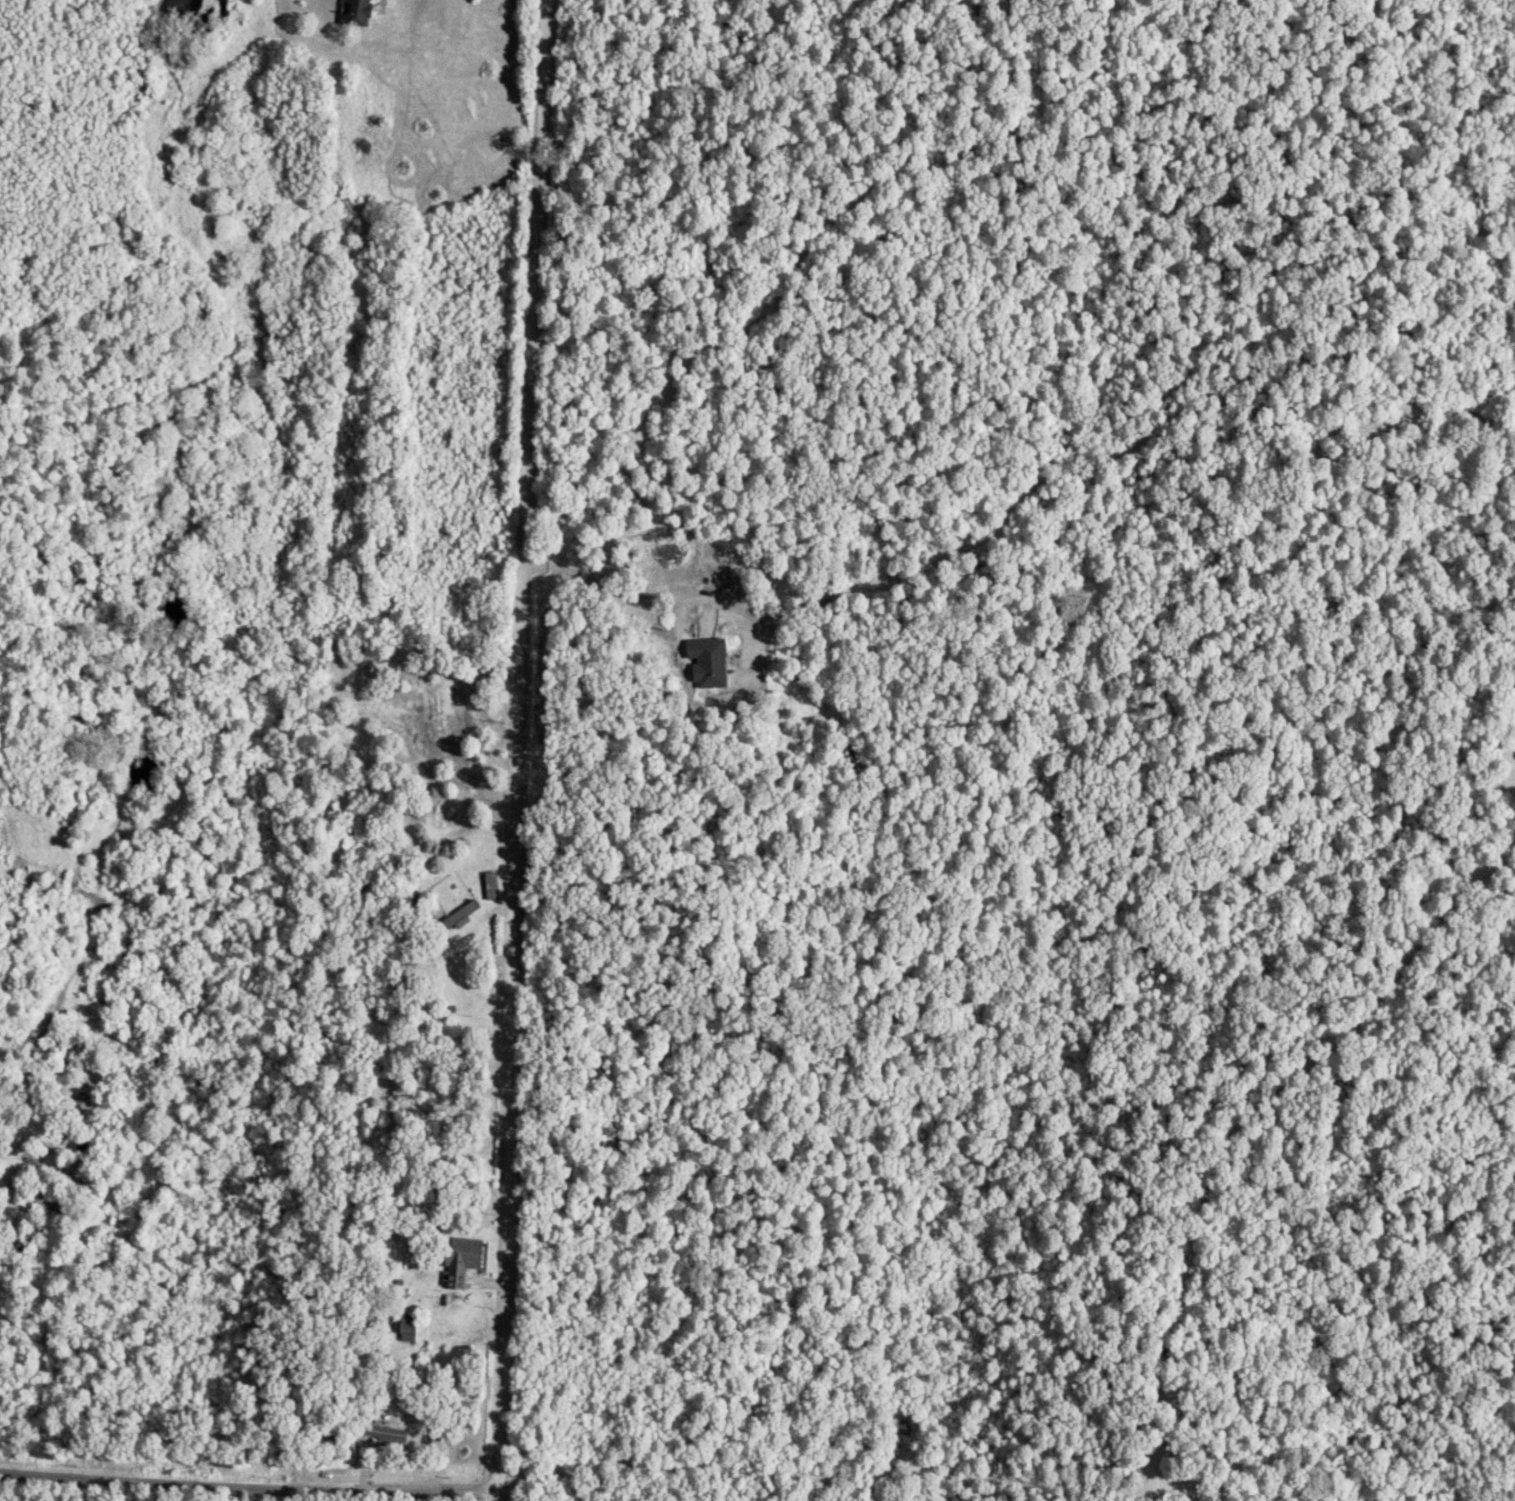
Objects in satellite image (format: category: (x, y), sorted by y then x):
building: (351, 13)
building: (409, 745)
road: (514, 753)
building: (453, 920)
building: (458, 1262)
road: (344, 1491)

